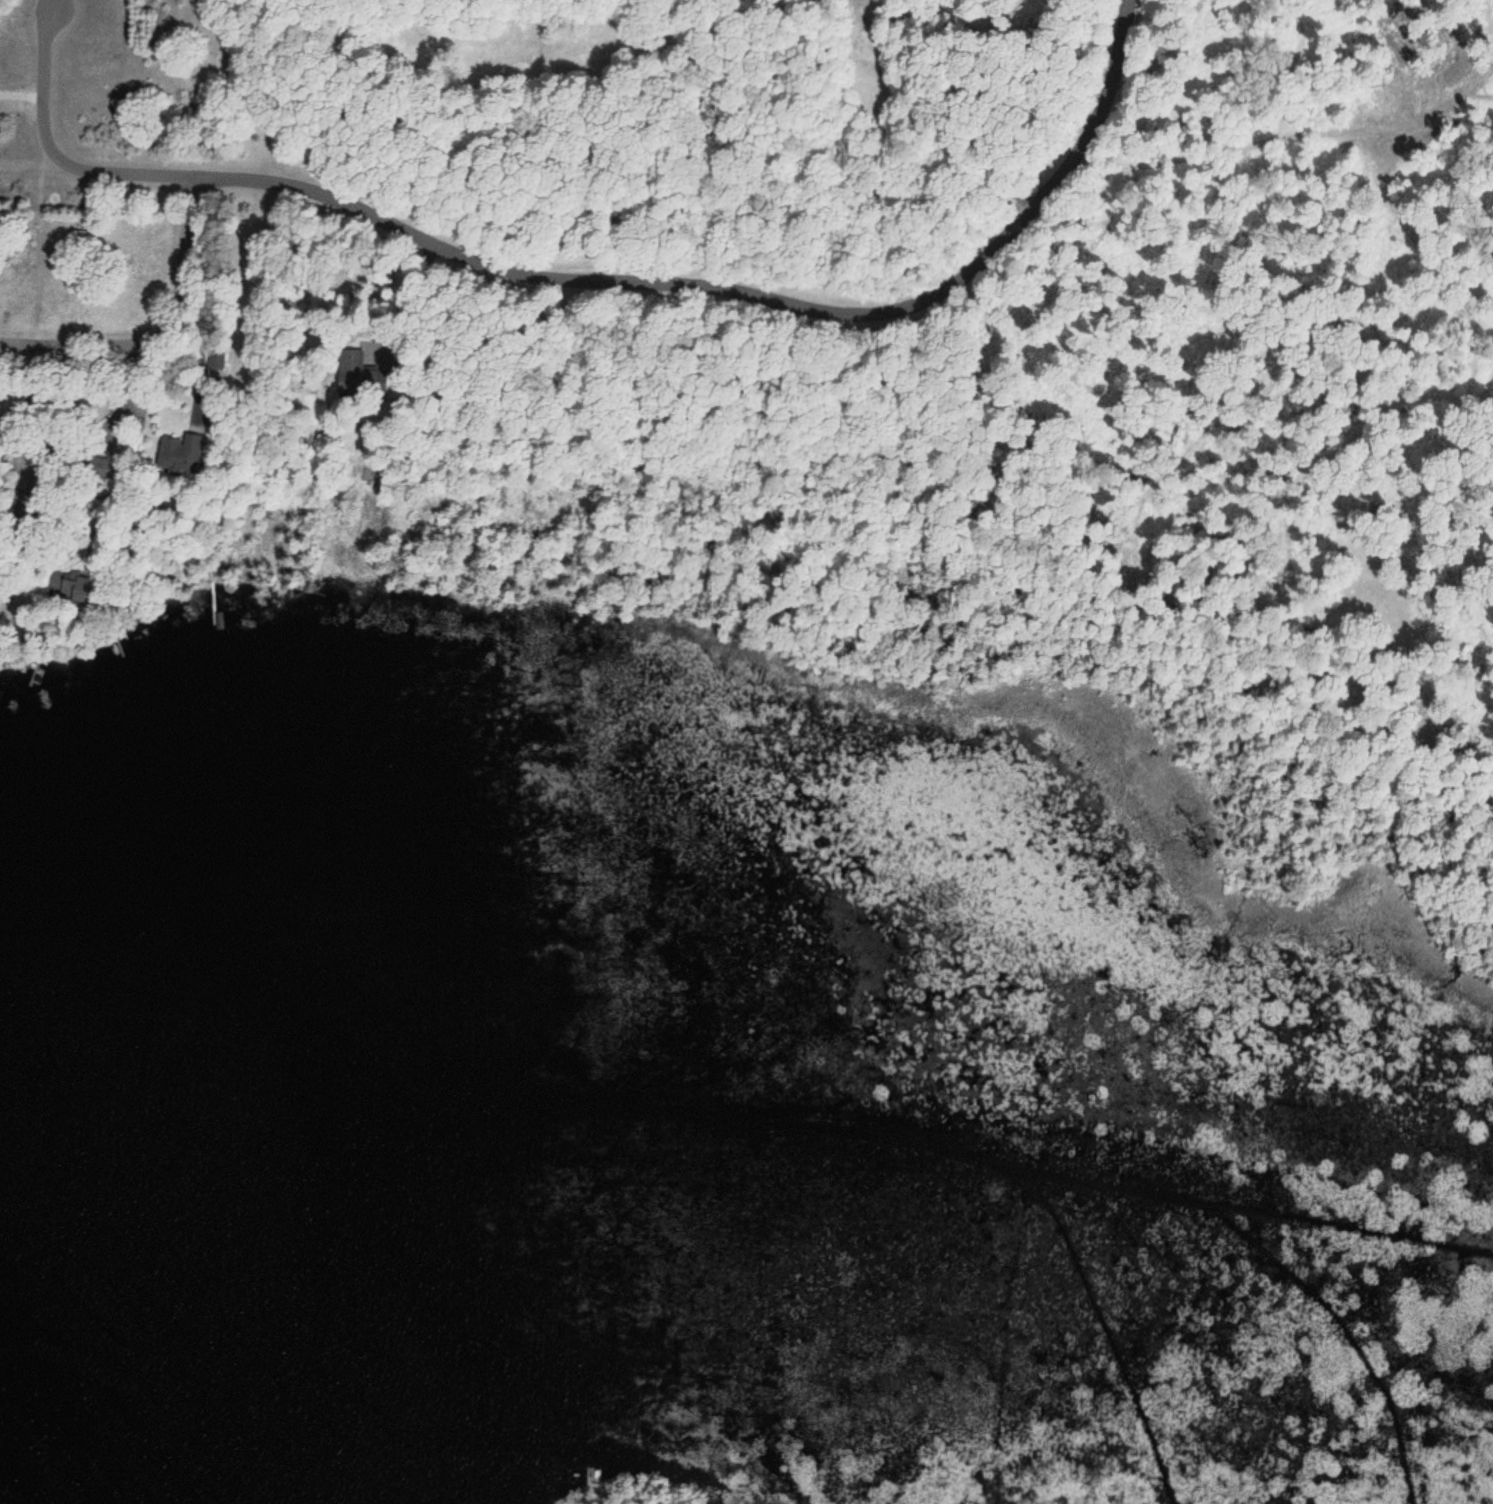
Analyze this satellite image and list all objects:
road: (604, 278)
building: (348, 369)
building: (175, 454)
building: (90, 465)
building: (68, 590)

